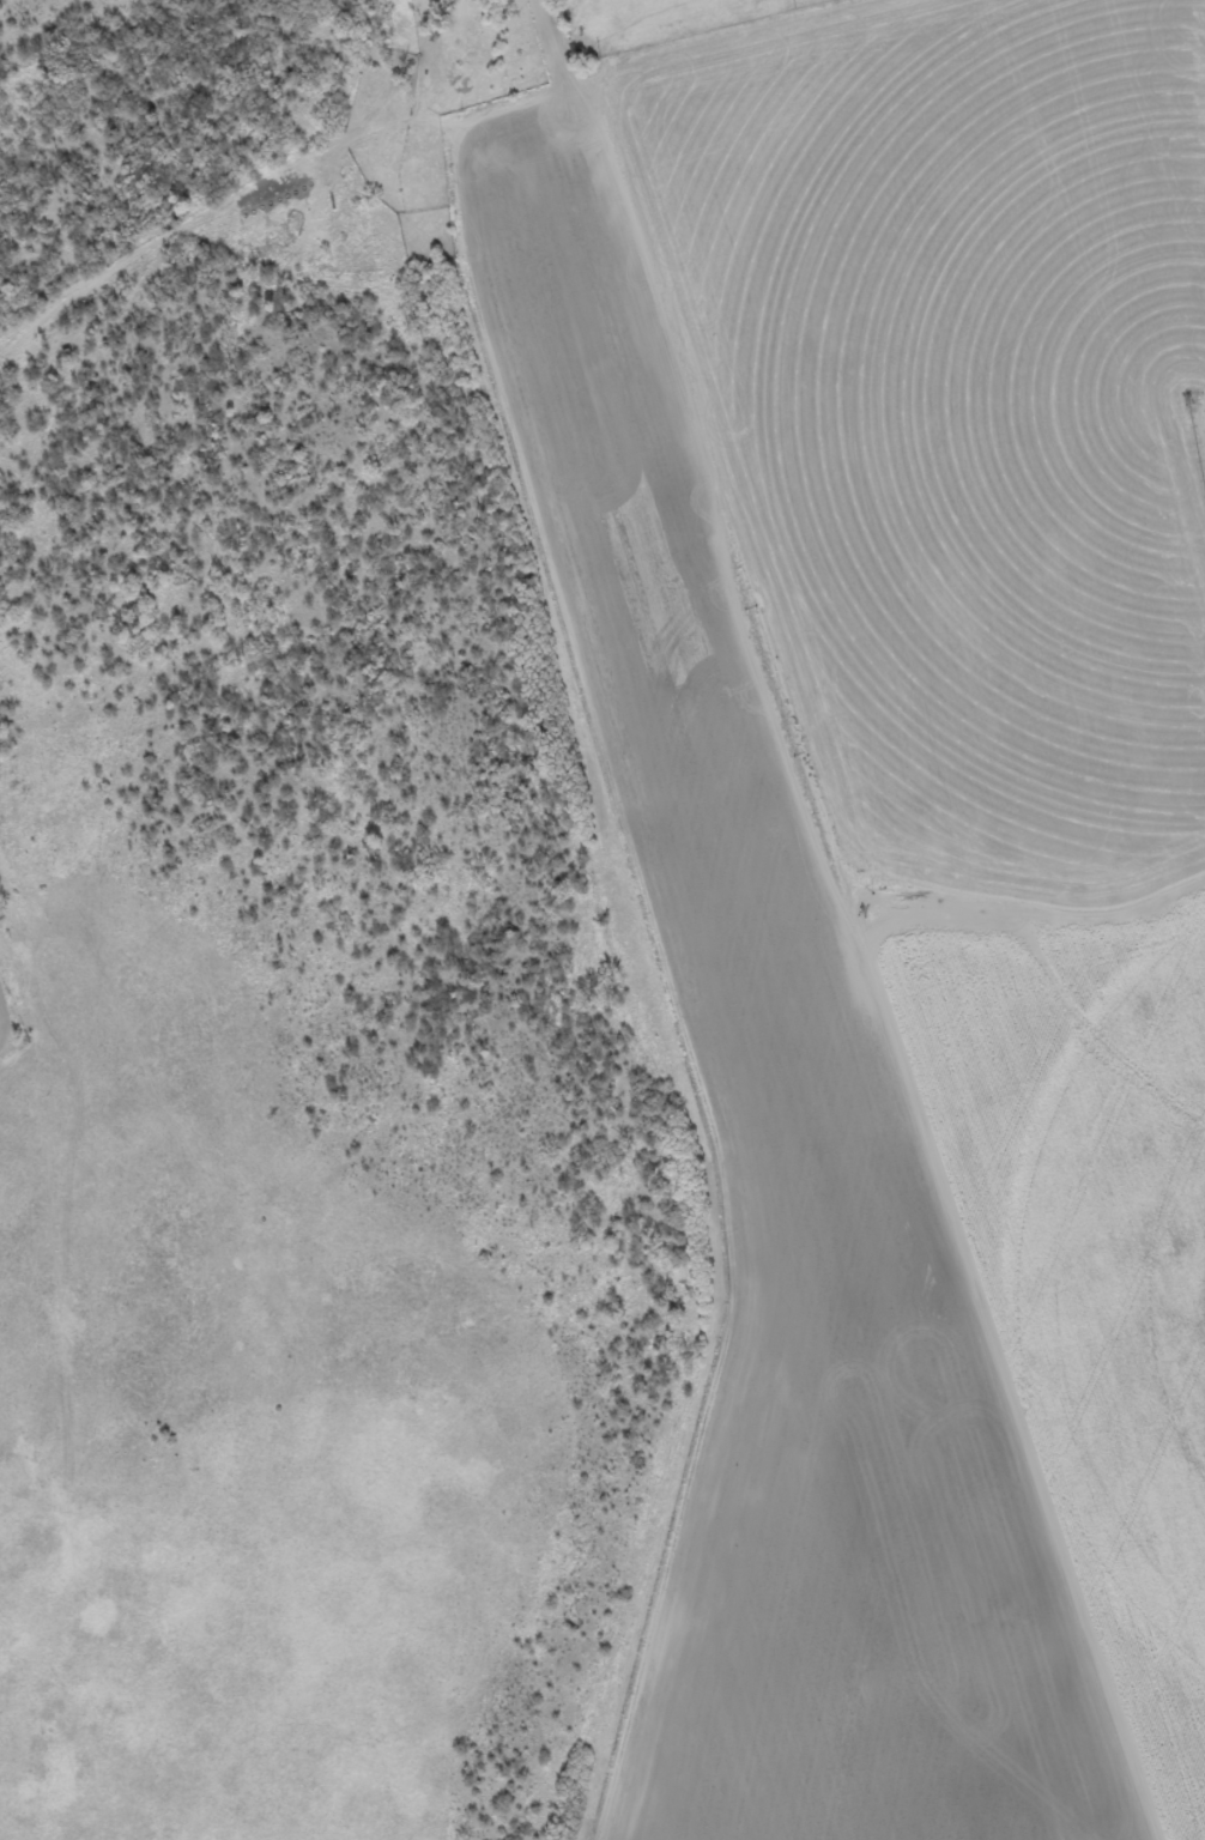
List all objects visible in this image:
road: (587, 59)
road: (608, 128)
road: (79, 1321)

